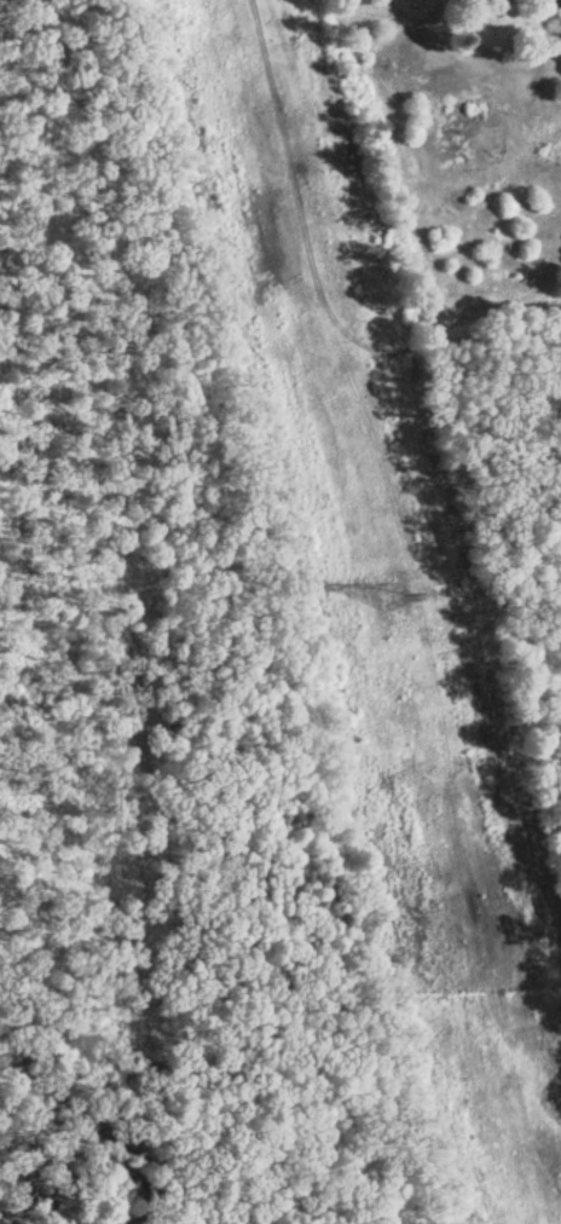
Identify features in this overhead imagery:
road: (553, 11)
power tower: (388, 591)

